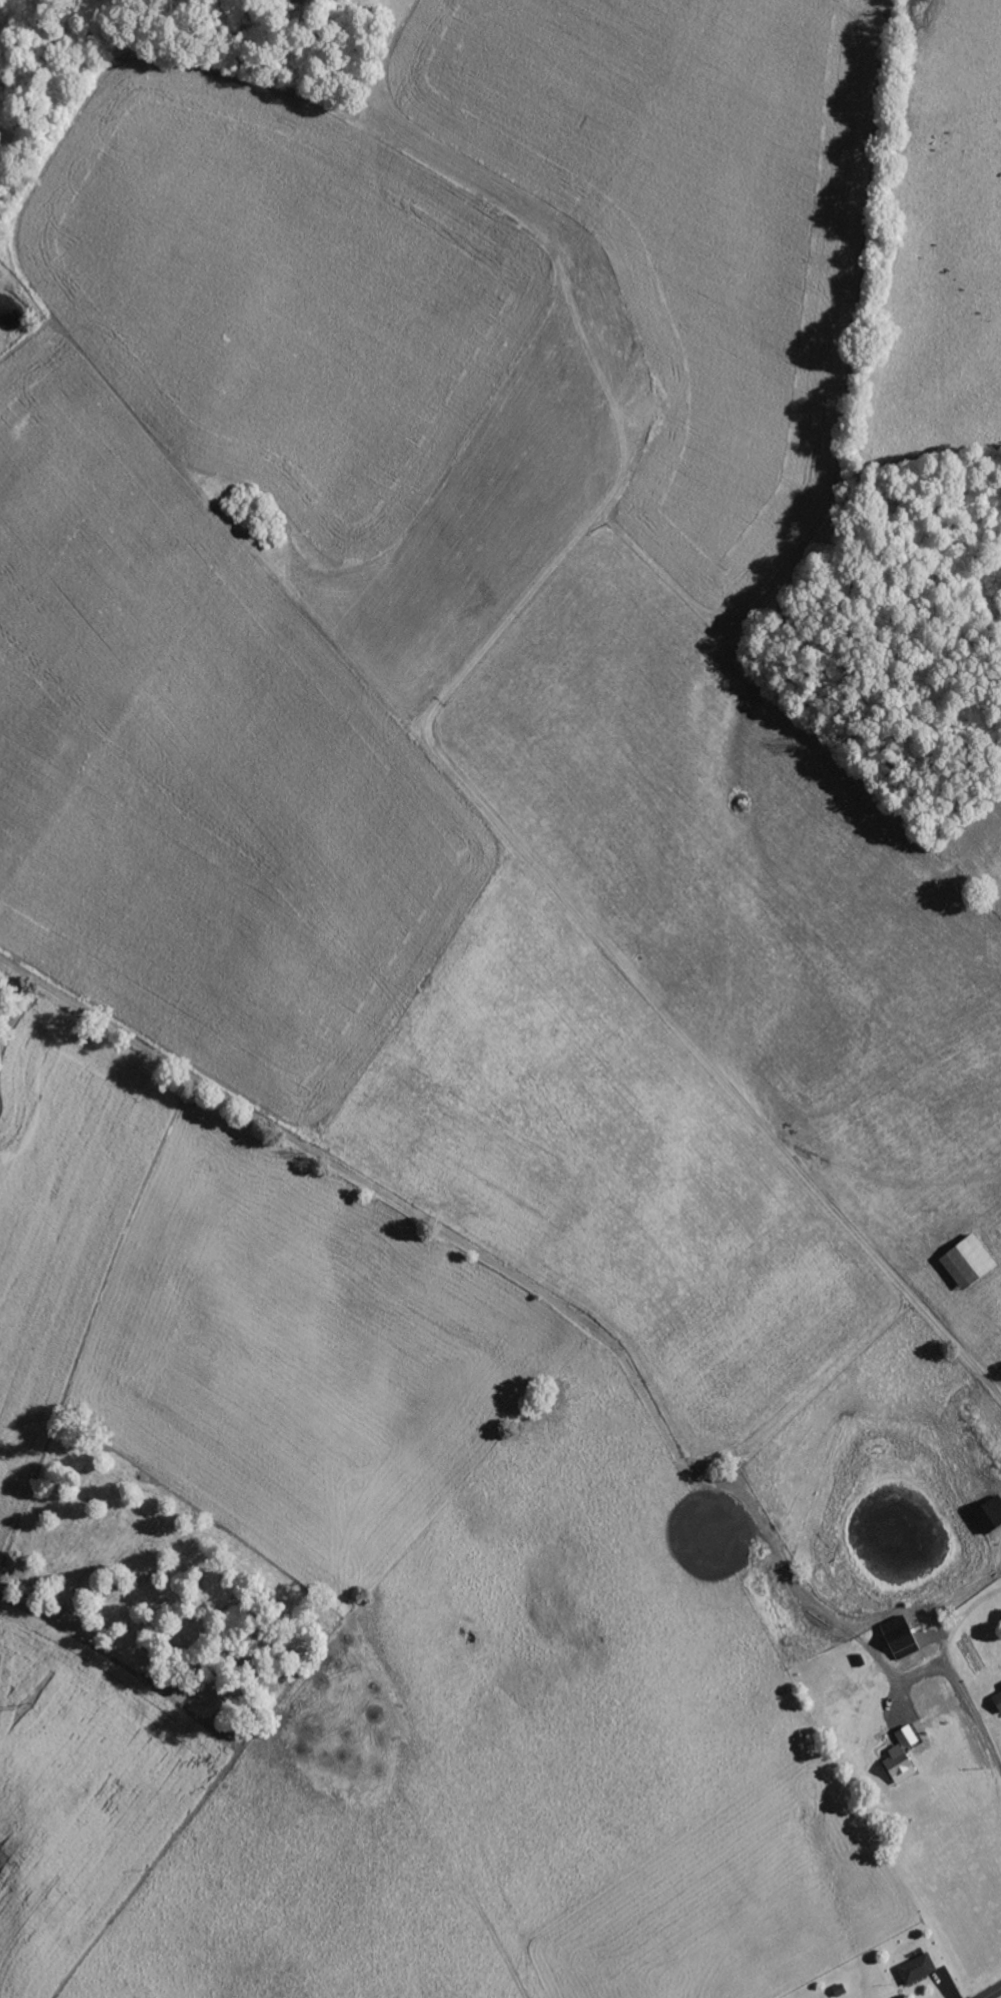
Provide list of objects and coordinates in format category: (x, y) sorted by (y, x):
building: (967, 1262)
building: (989, 1513)
building: (900, 1636)
building: (997, 1700)
building: (898, 1764)
building: (917, 1968)
road: (994, 1993)

